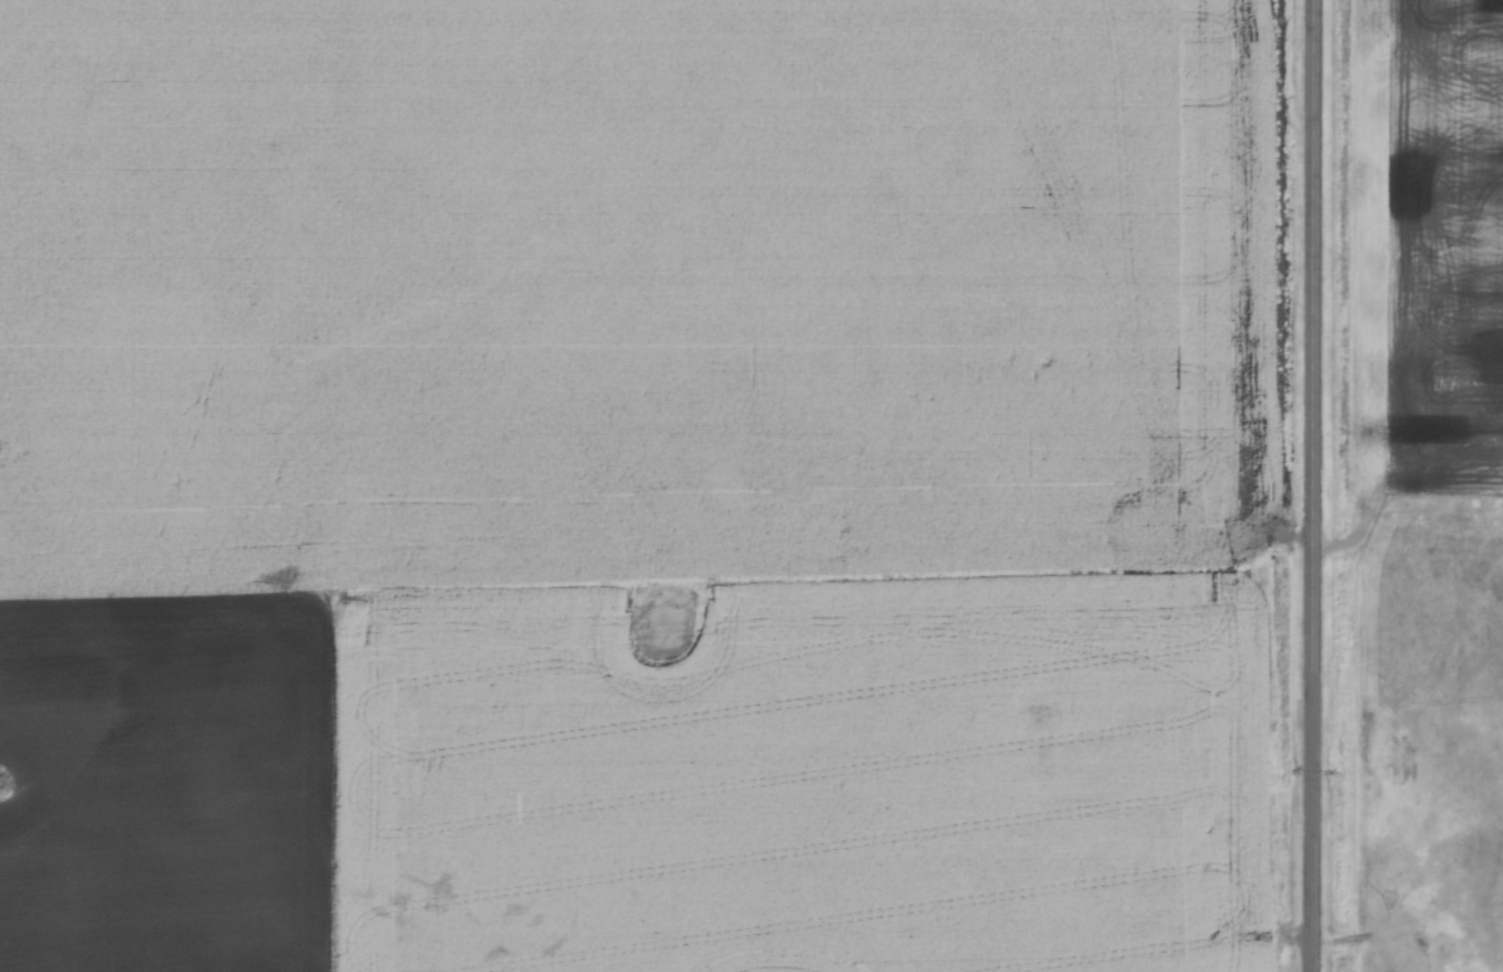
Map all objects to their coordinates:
building: (1440, 102)
road: (1311, 486)
building: (1071, 864)

